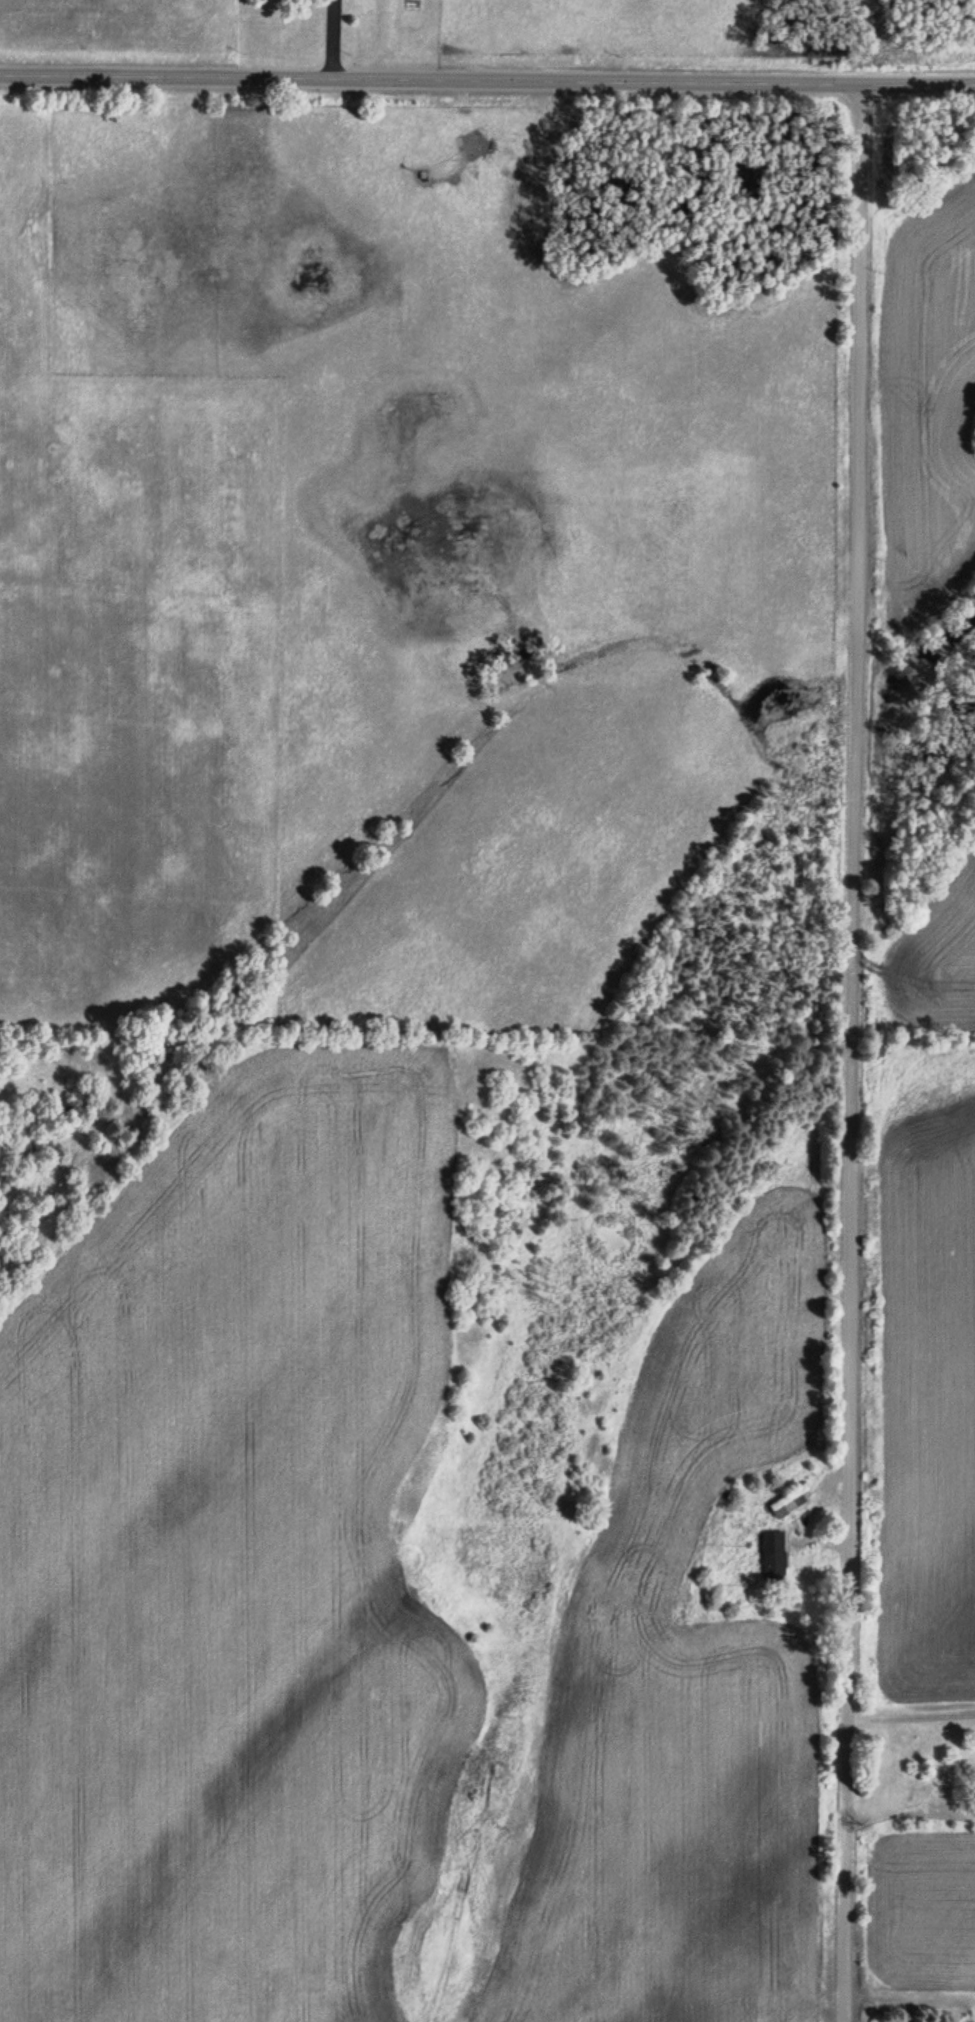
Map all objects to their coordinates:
road: (487, 81)
road: (849, 1052)
building: (791, 1499)
building: (773, 1555)

